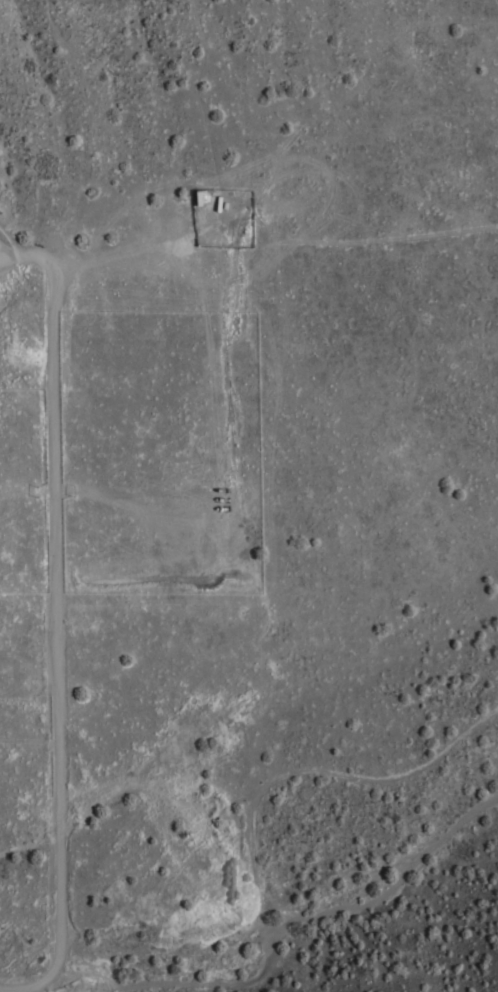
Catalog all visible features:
road: (53, 604)
building: (184, 836)
road: (26, 988)

